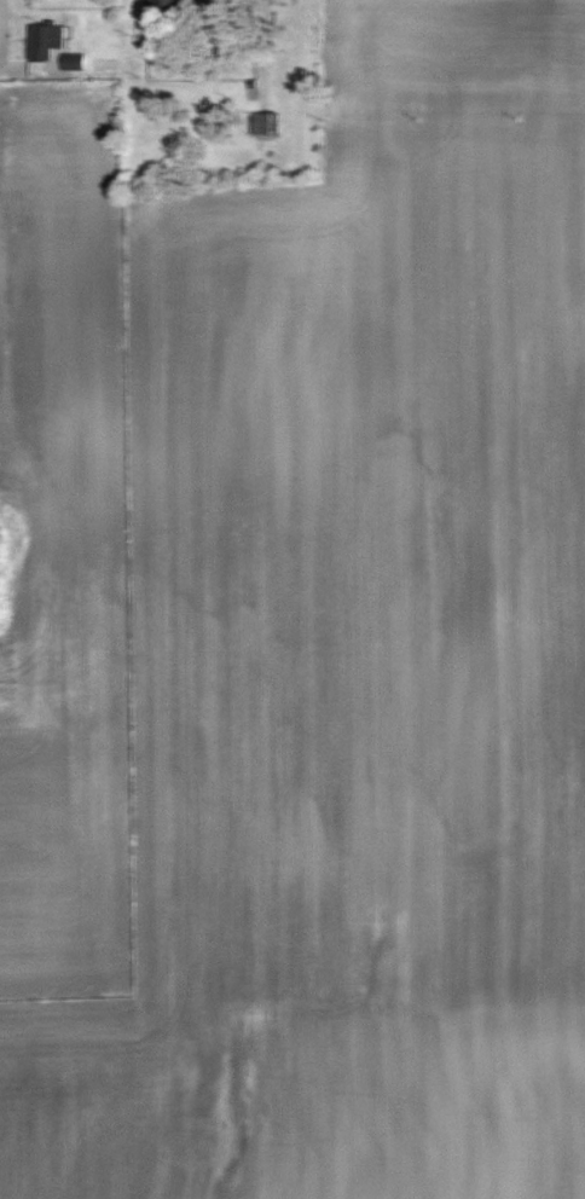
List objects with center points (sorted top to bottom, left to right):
building: (161, 7)
building: (44, 41)
building: (73, 62)
building: (261, 123)

